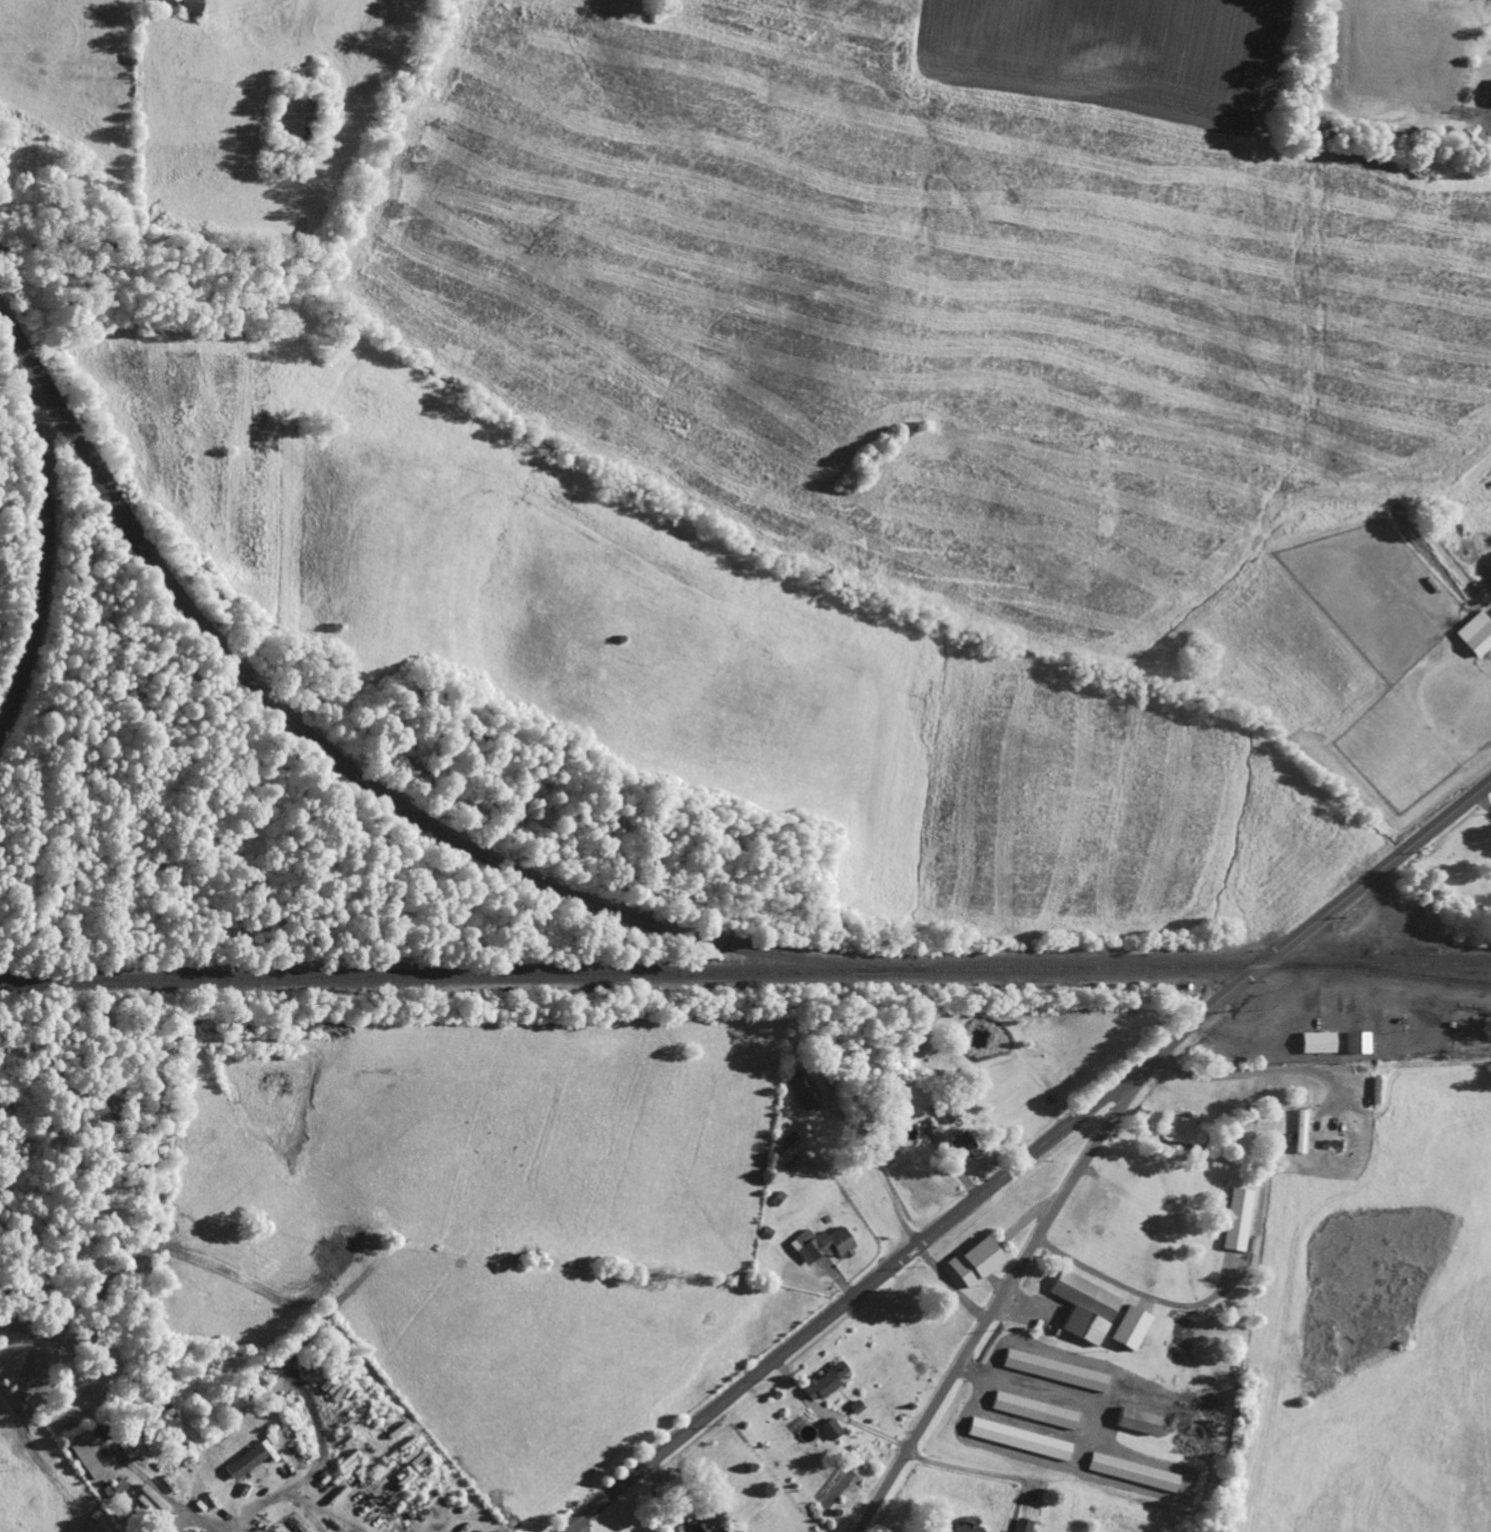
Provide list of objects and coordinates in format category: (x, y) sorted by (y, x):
building: (188, 7)
railway: (44, 517)
building: (1476, 635)
railway: (363, 784)
railway: (745, 973)
railway: (1394, 974)
building: (907, 1040)
building: (1356, 1041)
building: (1317, 1042)
building: (808, 1090)
building: (948, 1112)
building: (792, 1143)
building: (963, 1144)
road: (1027, 1156)
building: (1238, 1221)
building: (824, 1244)
building: (975, 1261)
road: (1006, 1290)
building: (1084, 1307)
building: (1129, 1327)
building: (1054, 1370)
building: (824, 1382)
building: (1034, 1409)
building: (1136, 1420)
building: (831, 1428)
building: (1019, 1438)
building: (267, 1445)
building: (85, 1457)
building: (244, 1462)
building: (1133, 1472)
building: (1024, 1525)
building: (700, 1527)
building: (965, 1527)
building: (191, 1531)

